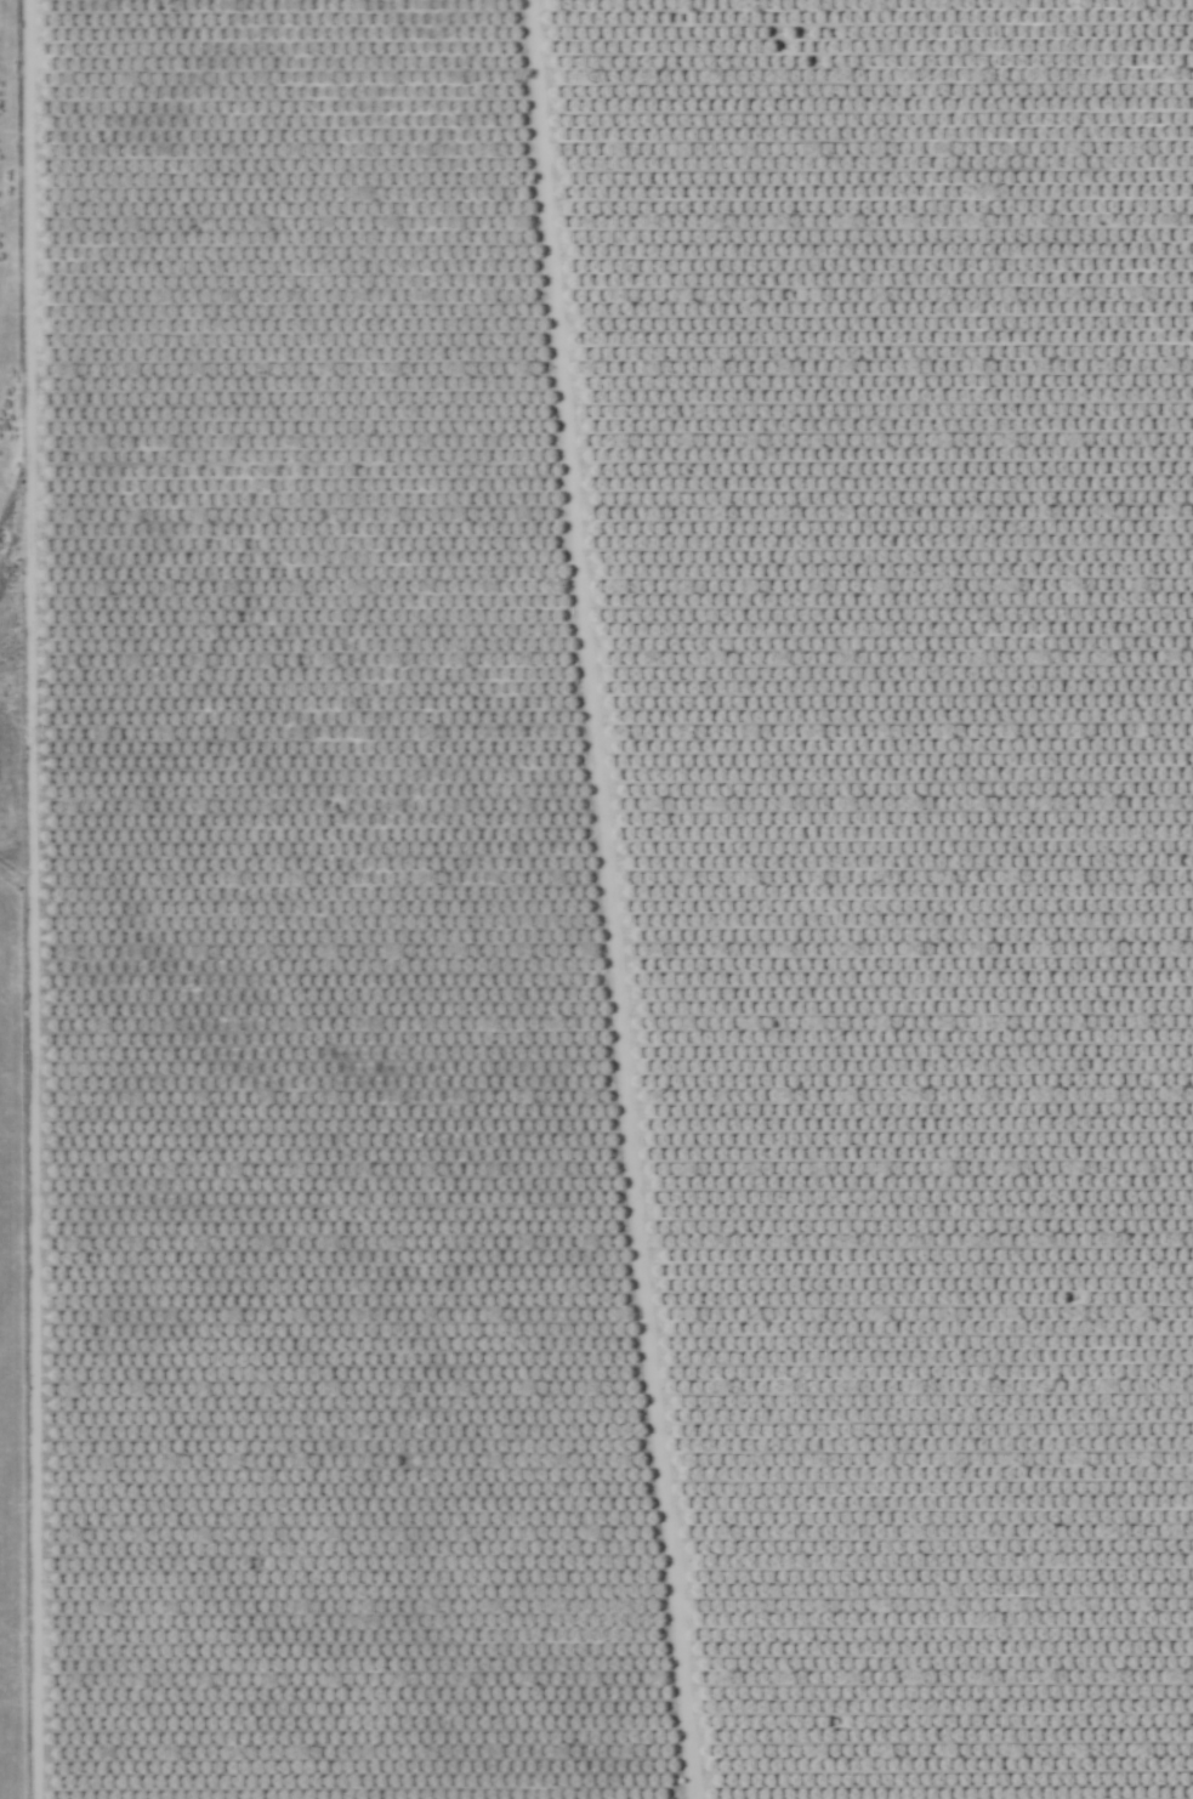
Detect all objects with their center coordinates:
crop: (601, 897)
railway: (538, 899)
railway: (549, 899)

